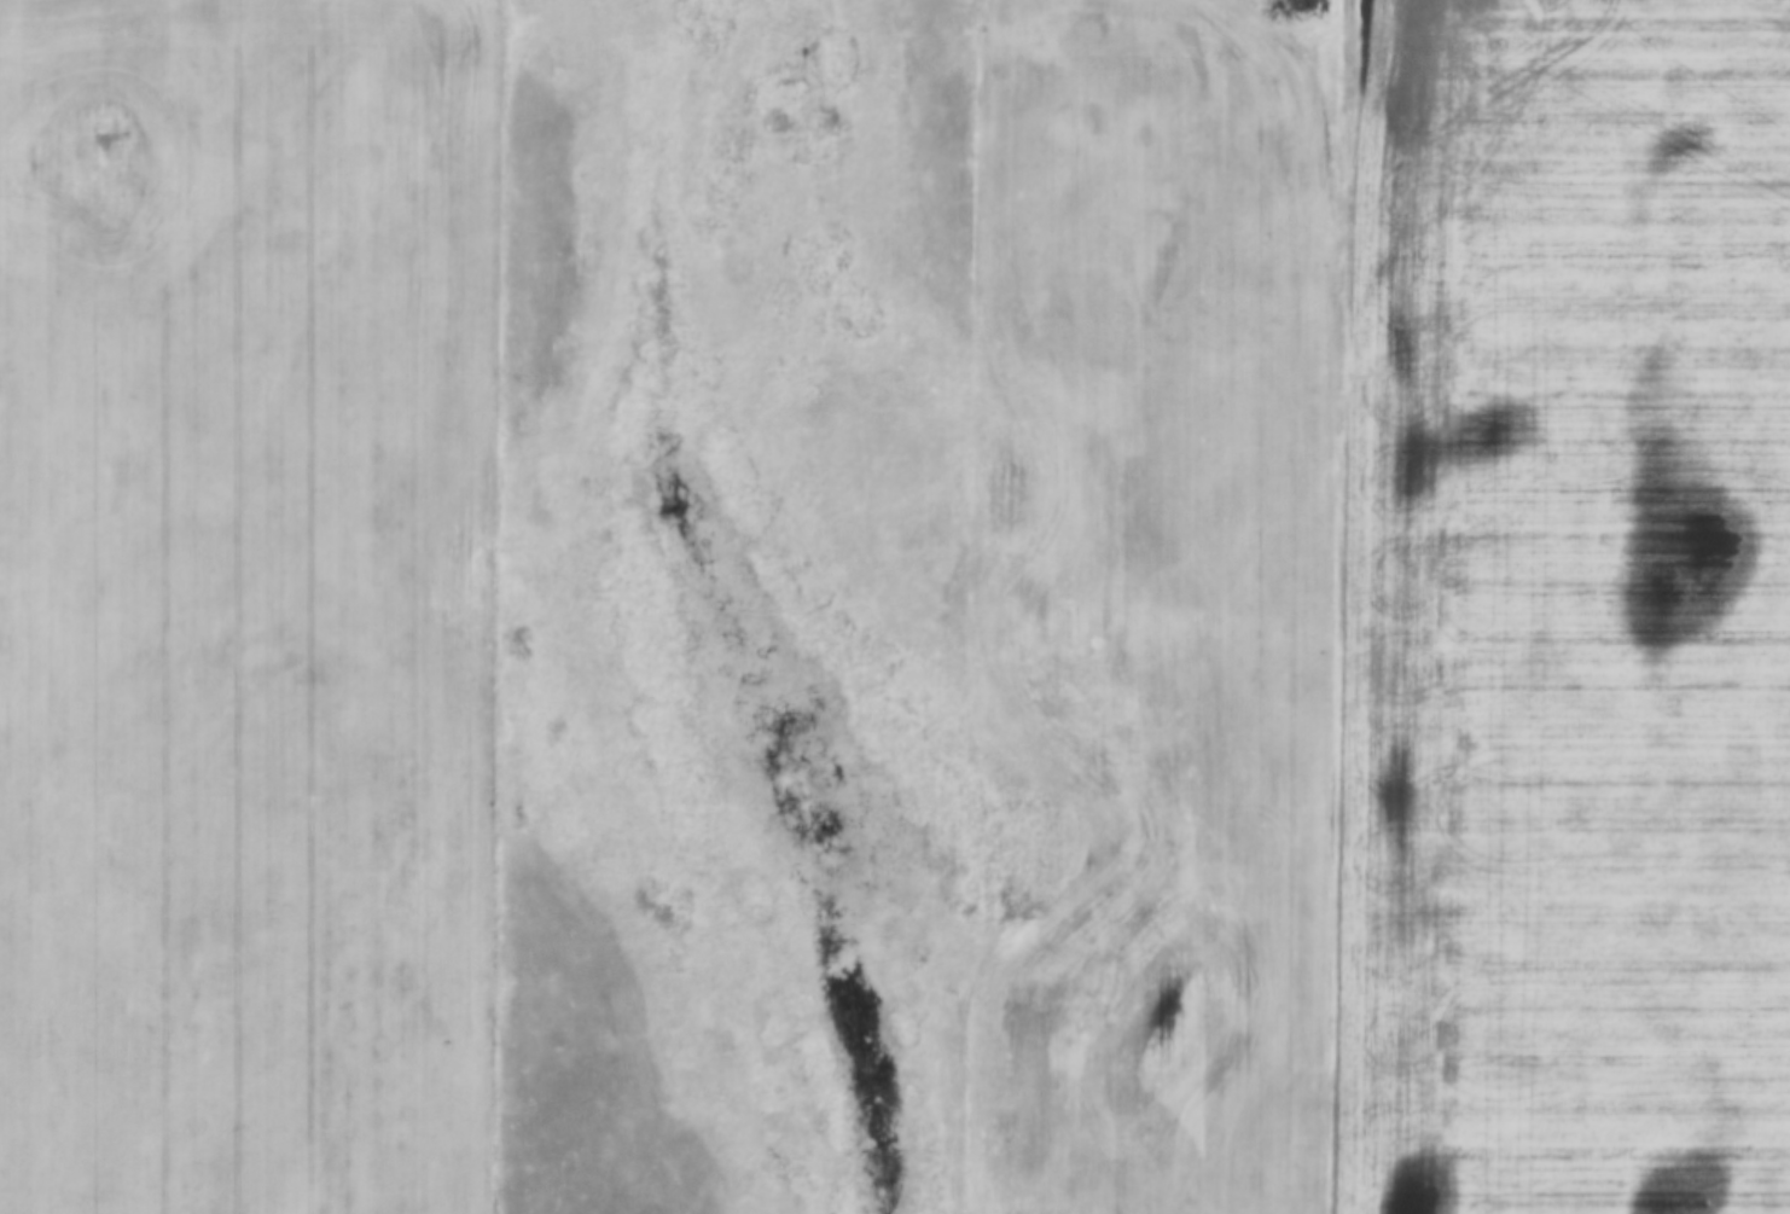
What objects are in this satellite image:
road: (1344, 606)

